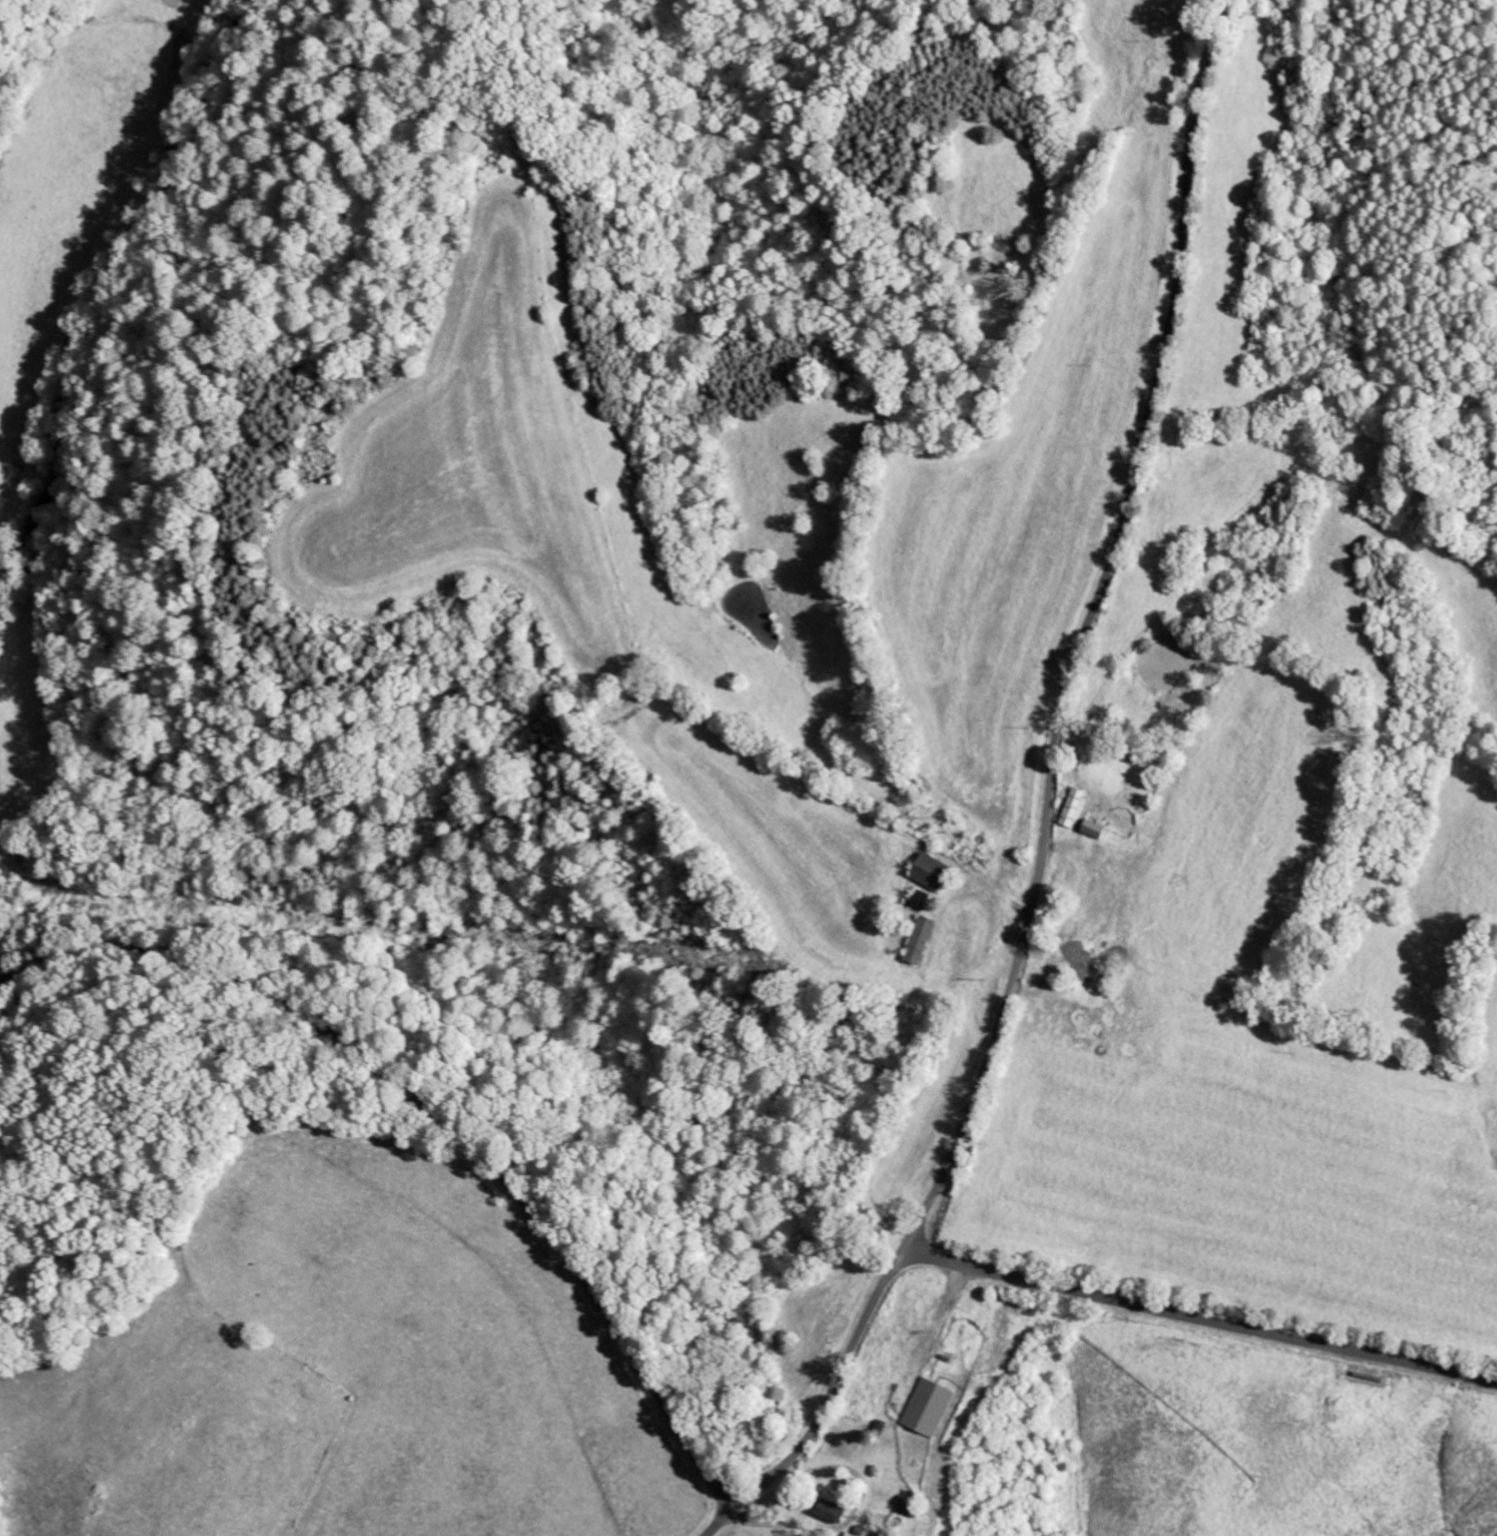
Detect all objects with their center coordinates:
road: (1050, 785)
building: (1068, 807)
building: (1089, 828)
building: (914, 940)
road: (437, 1114)
road: (1198, 1322)
building: (923, 1408)
building: (904, 1506)
building: (825, 1511)
road: (720, 1524)

